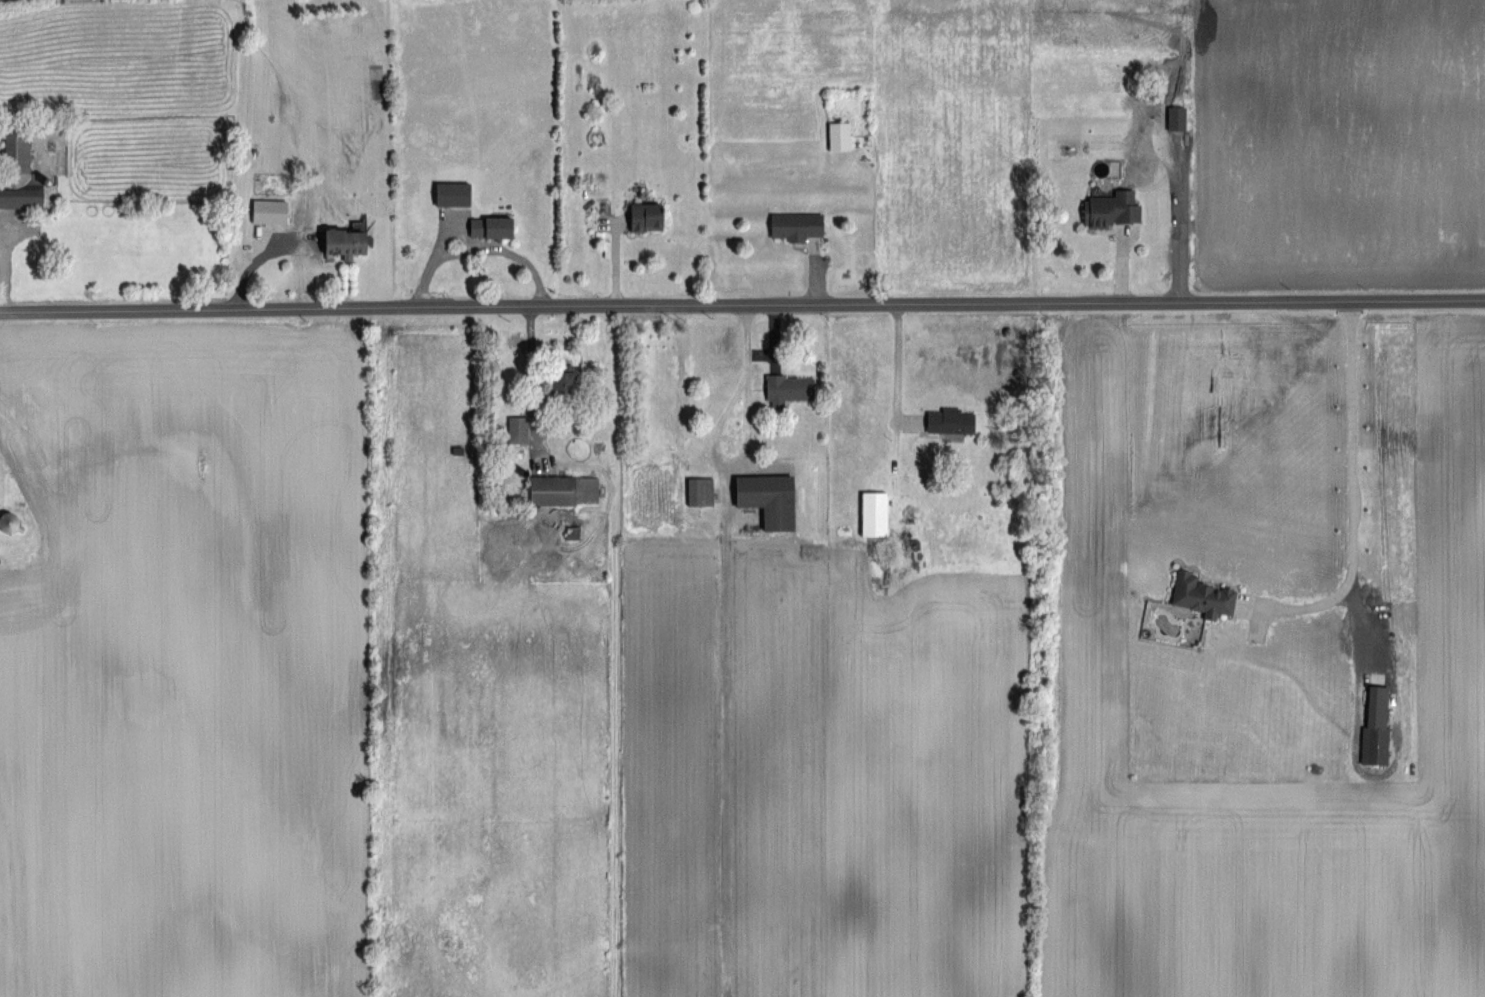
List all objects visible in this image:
building: (1175, 117)
building: (838, 135)
building: (23, 175)
building: (452, 193)
building: (1111, 208)
building: (269, 210)
building: (645, 216)
building: (796, 225)
building: (490, 226)
building: (345, 242)
road: (479, 248)
road: (742, 306)
road: (533, 378)
building: (563, 381)
building: (788, 388)
building: (949, 420)
building: (517, 429)
road: (744, 443)
road: (1355, 481)
building: (563, 489)
building: (700, 490)
building: (768, 498)
building: (873, 513)
building: (7, 521)
building: (572, 532)
building: (1201, 595)
road: (1320, 601)
building: (1375, 727)

